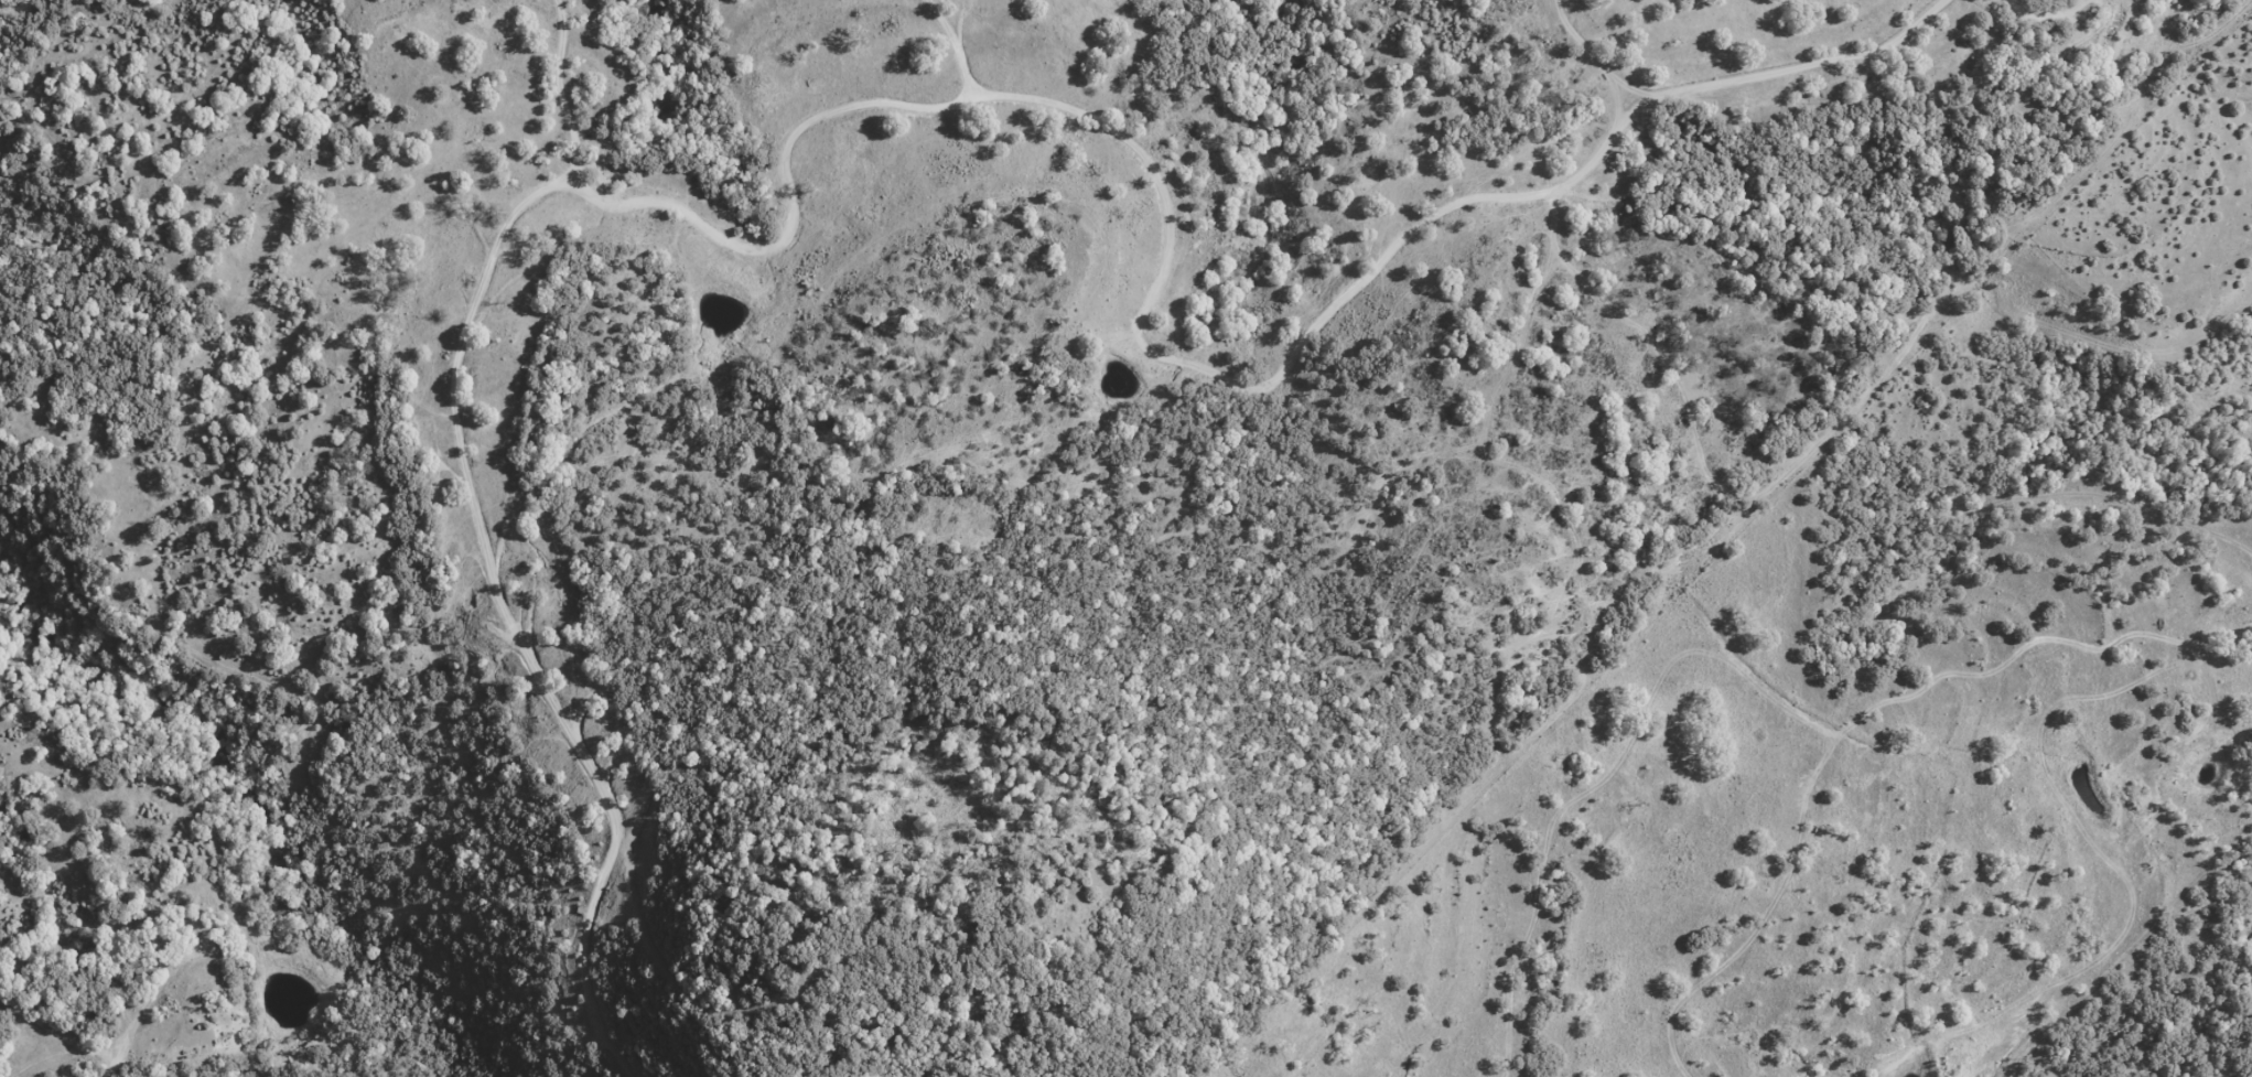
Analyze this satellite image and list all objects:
road: (966, 40)
road: (1380, 270)
road: (471, 368)
road: (112, 904)
road: (61, 1038)

